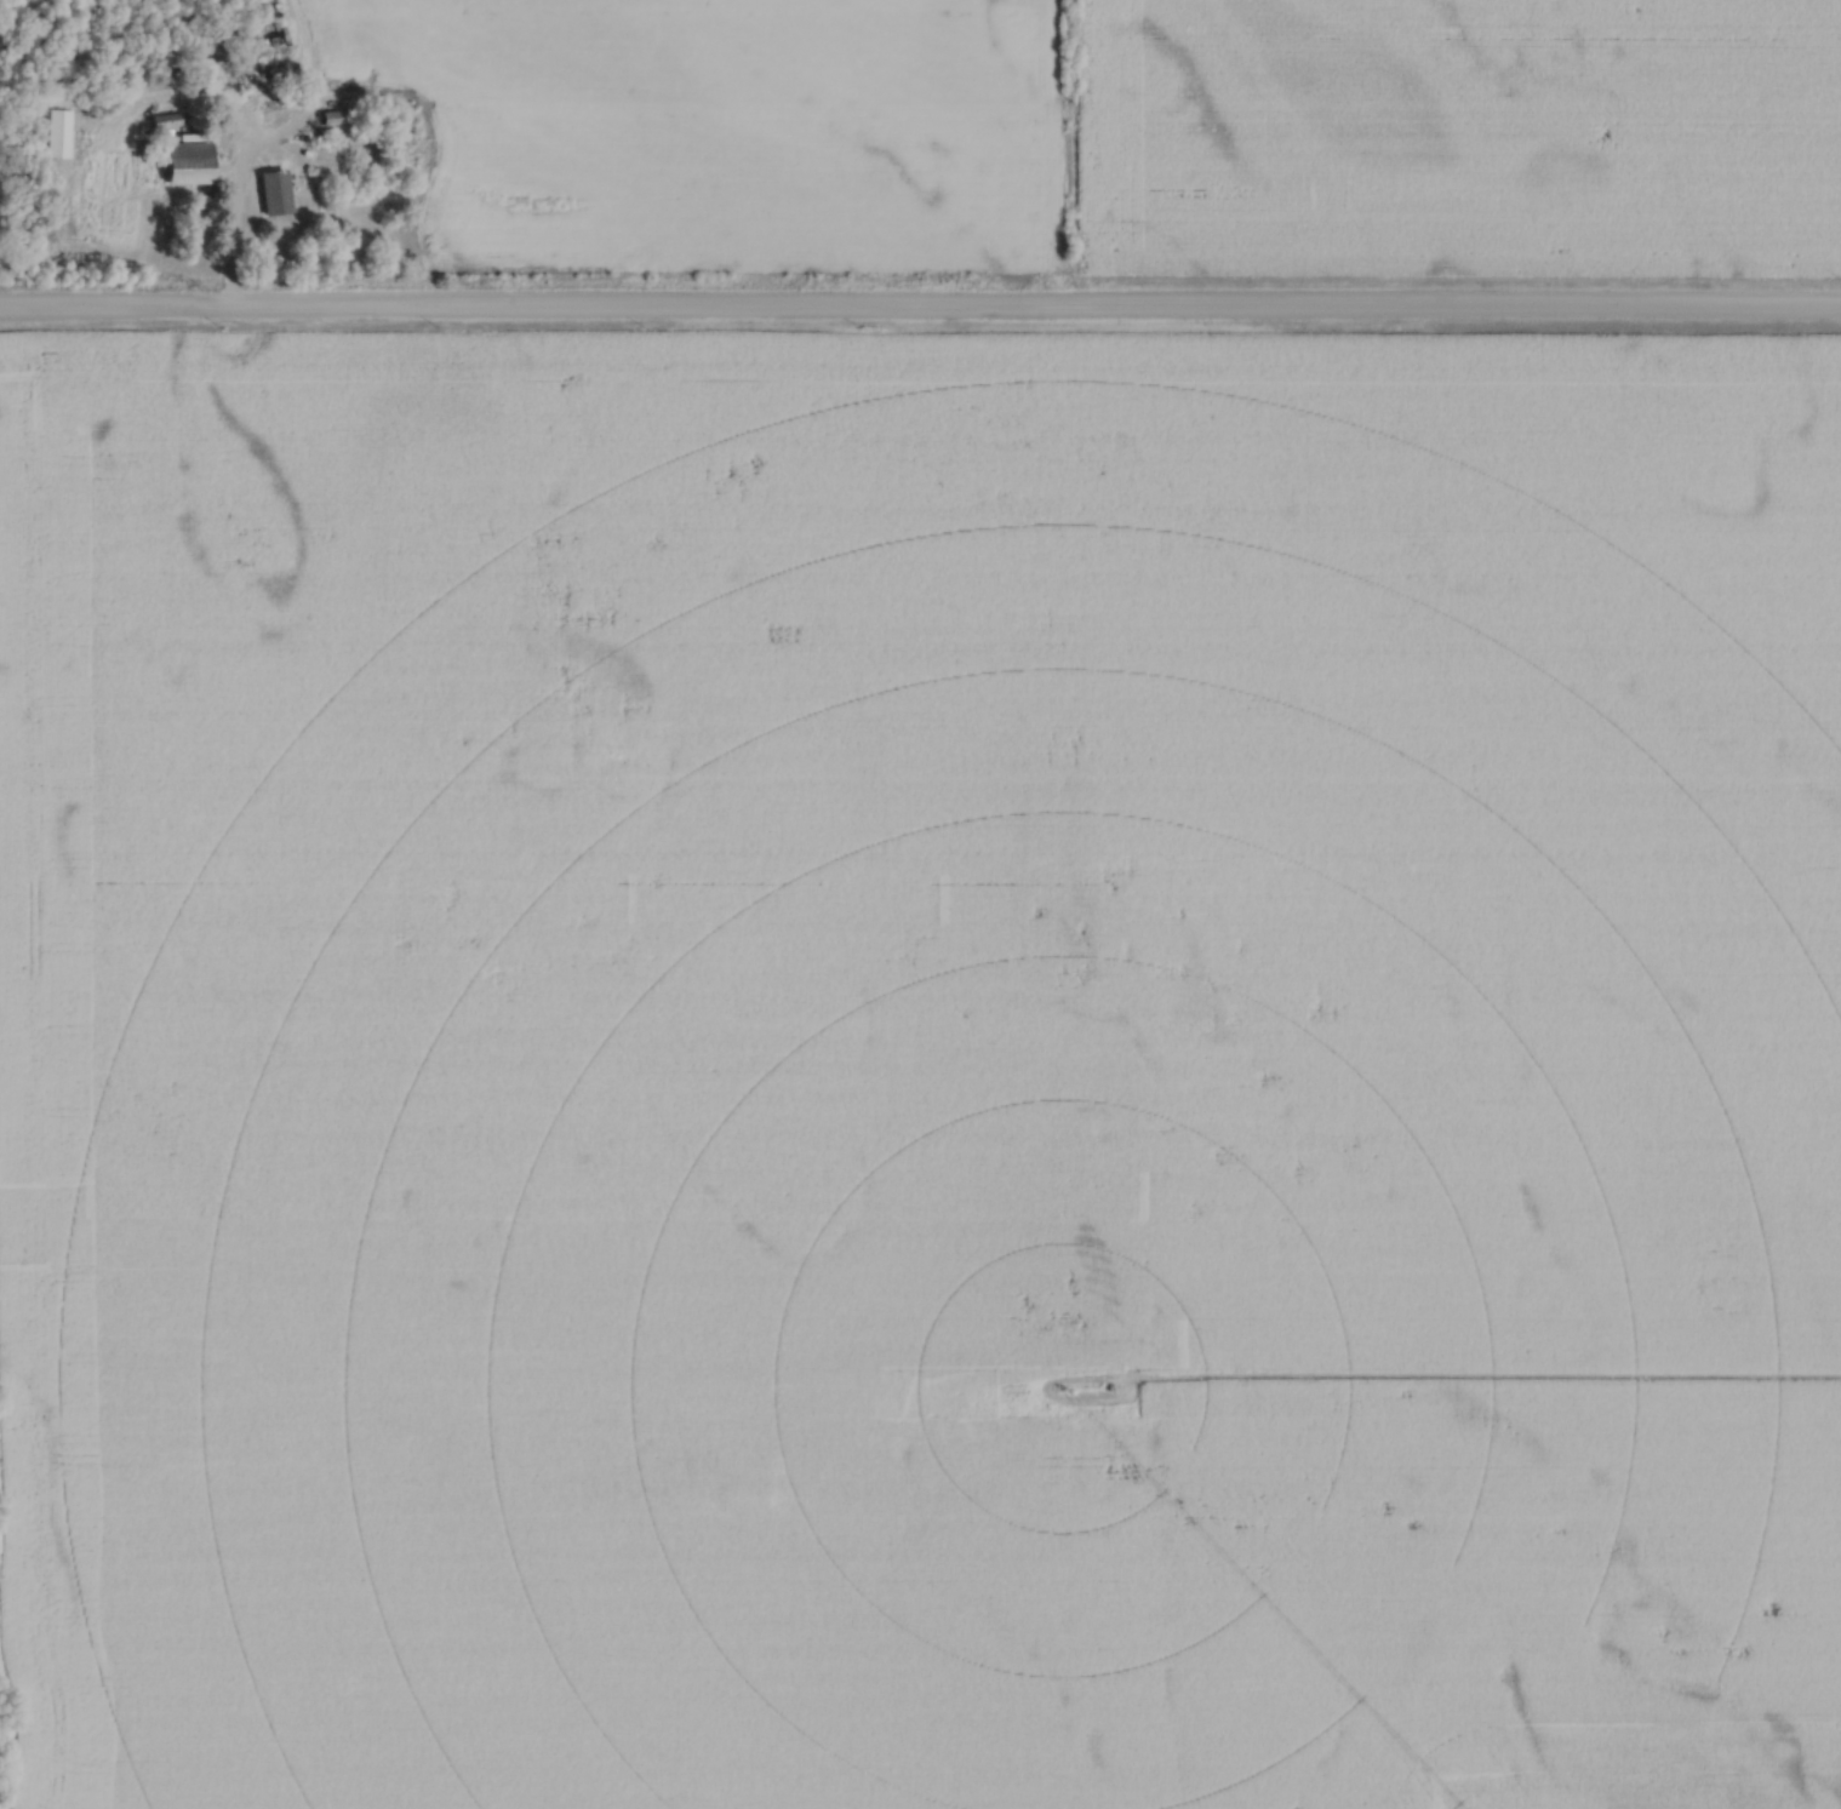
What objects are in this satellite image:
building: (59, 133)
building: (189, 164)
building: (275, 191)
road: (236, 221)
road: (920, 304)

